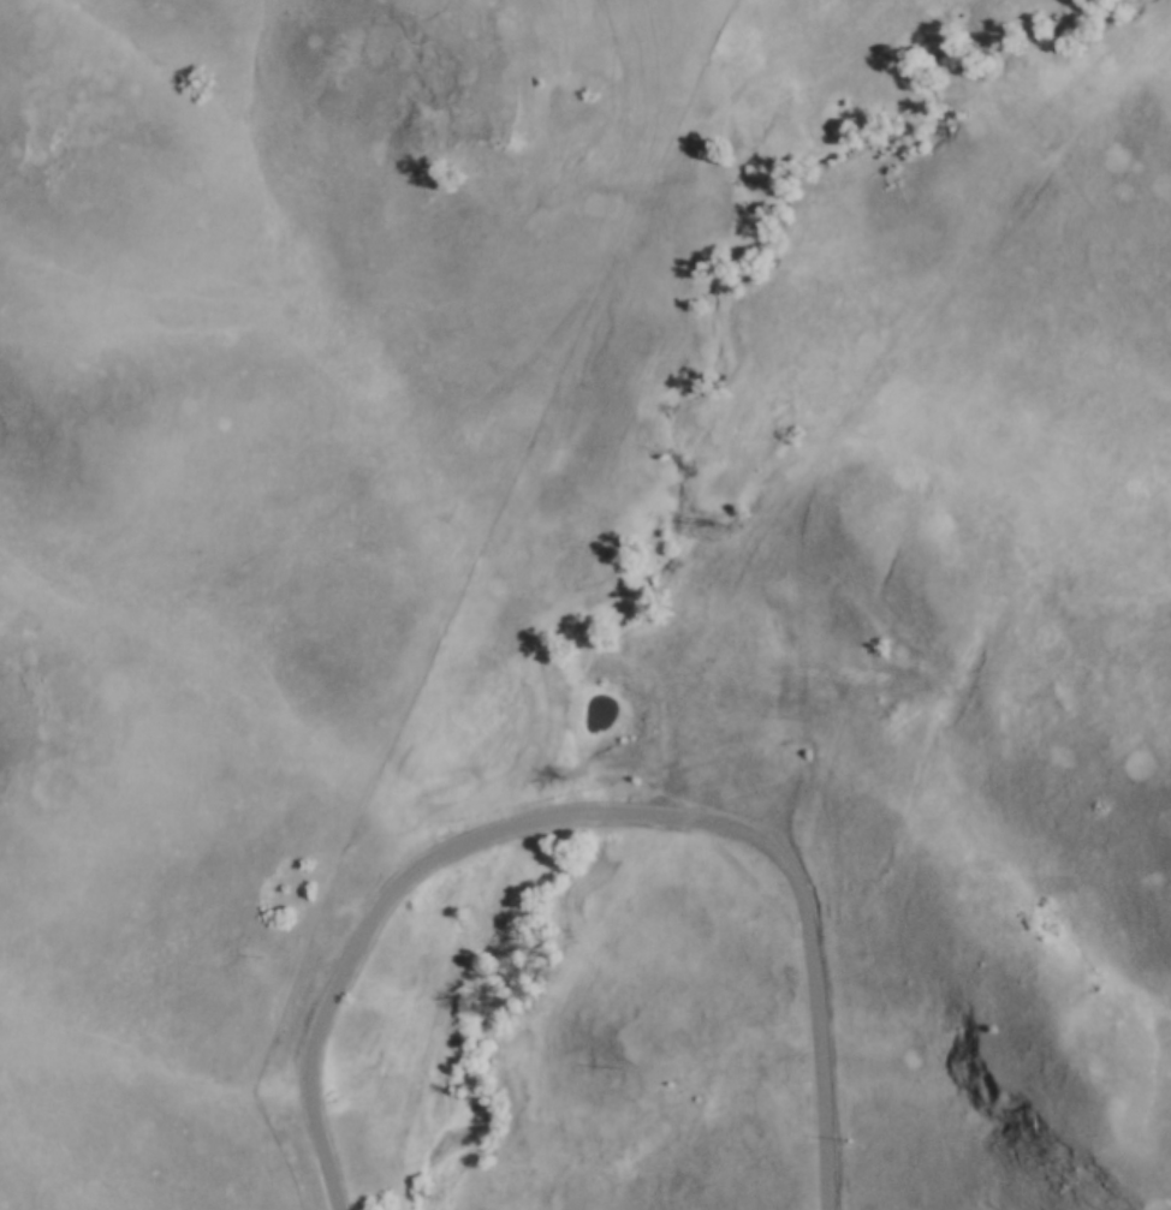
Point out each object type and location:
road: (596, 811)

